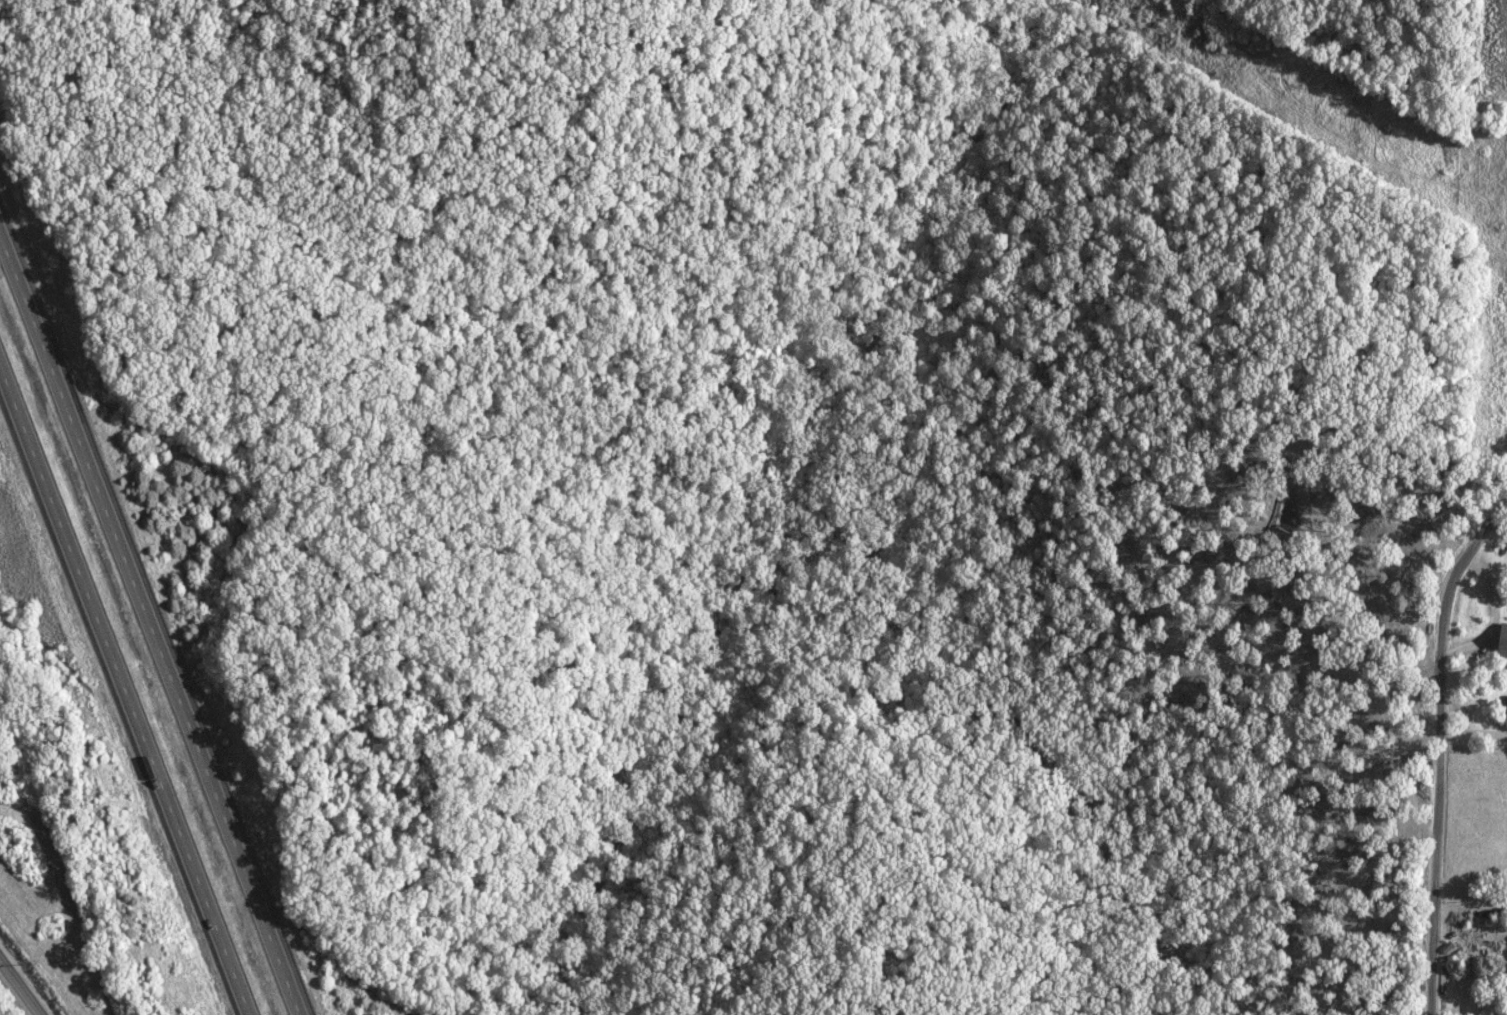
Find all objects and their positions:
road: (148, 631)
building: (1498, 640)
road: (124, 693)
road: (1437, 750)
road: (1469, 903)
road: (19, 988)

